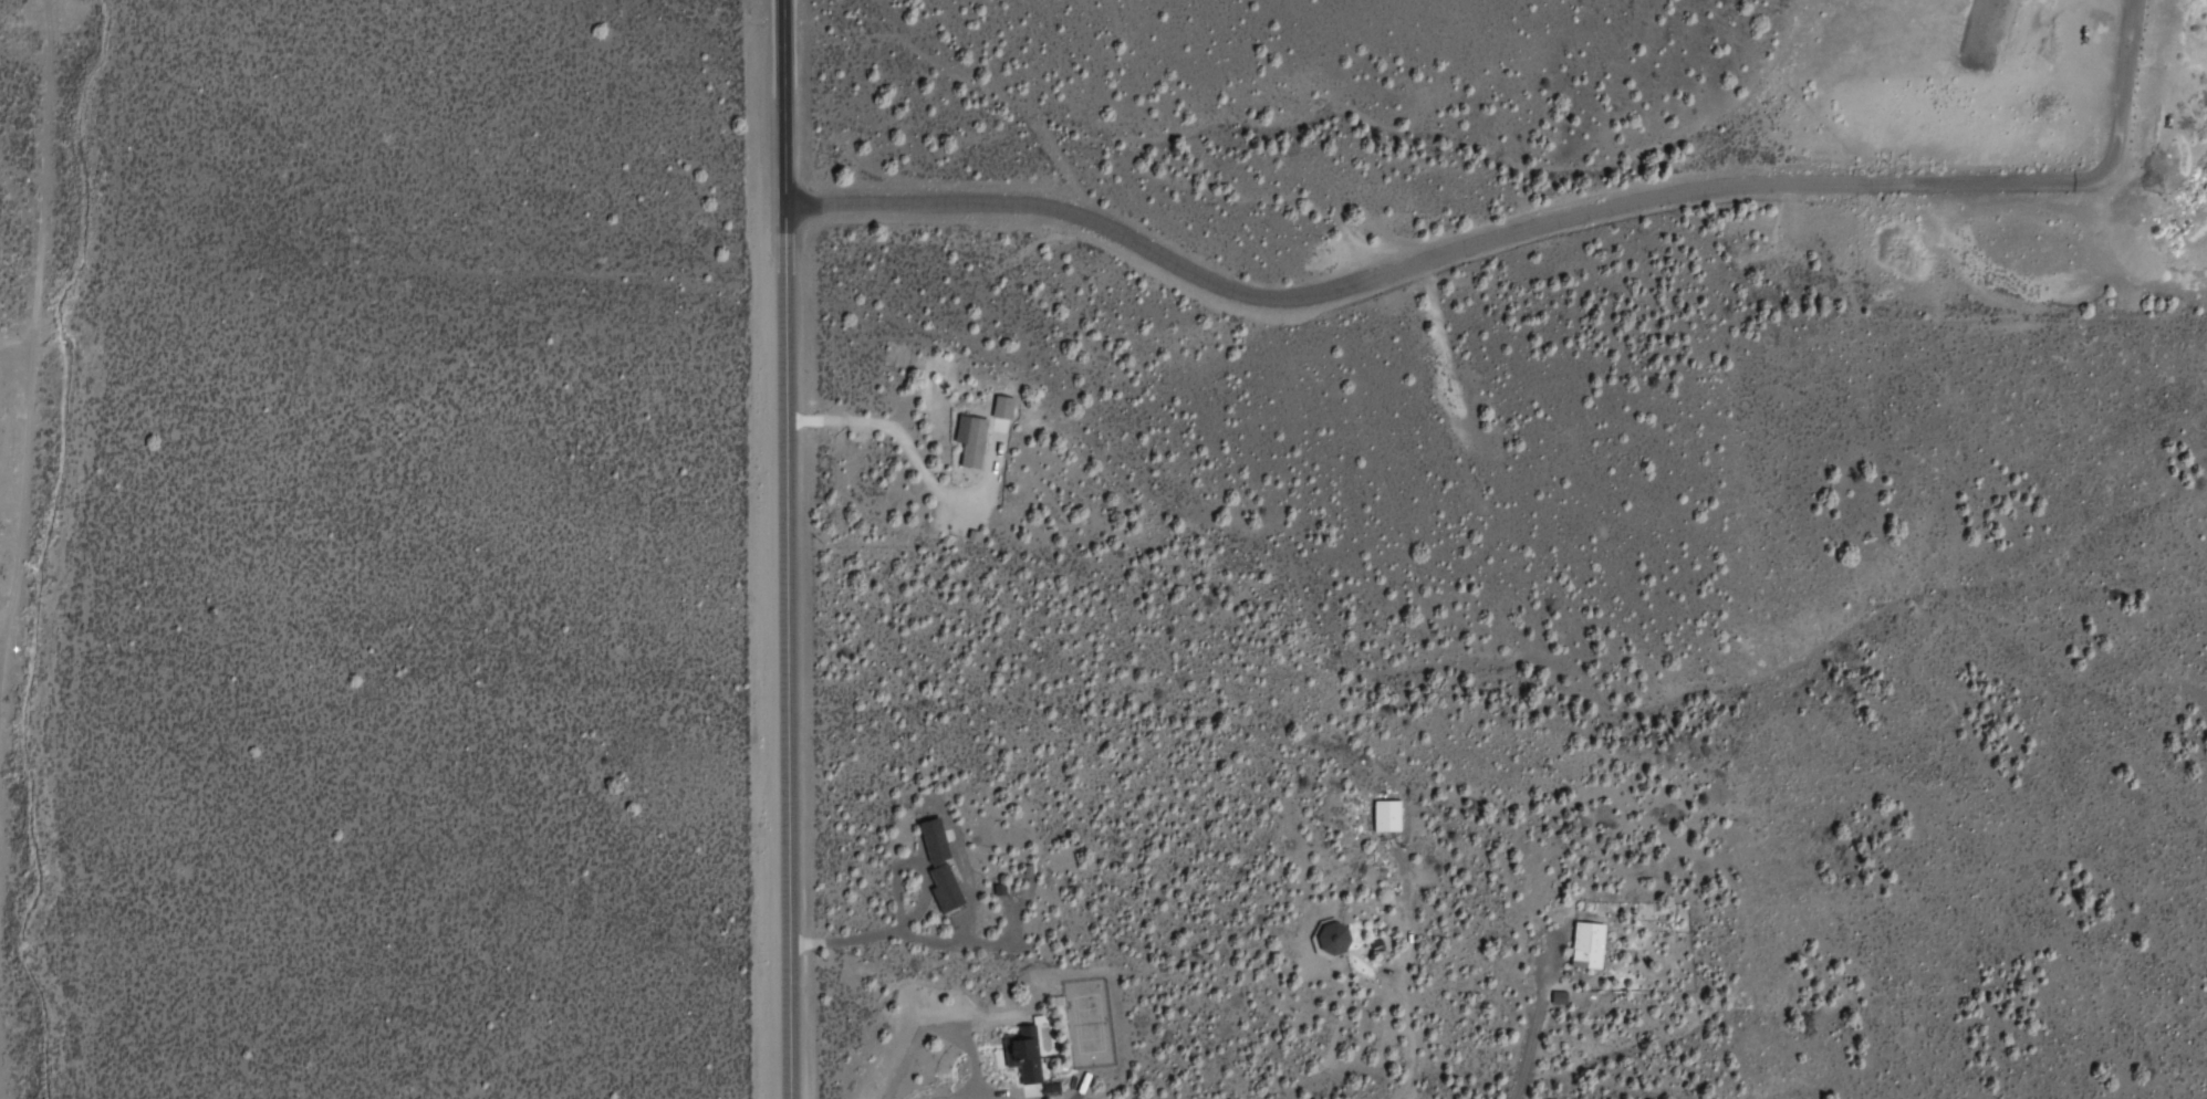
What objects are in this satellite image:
road: (2115, 105)
road: (1409, 268)
road: (23, 300)
building: (998, 414)
building: (969, 443)
road: (779, 548)
building: (1391, 820)
building: (944, 869)
building: (1329, 940)
building: (1593, 948)
building: (1024, 1053)

